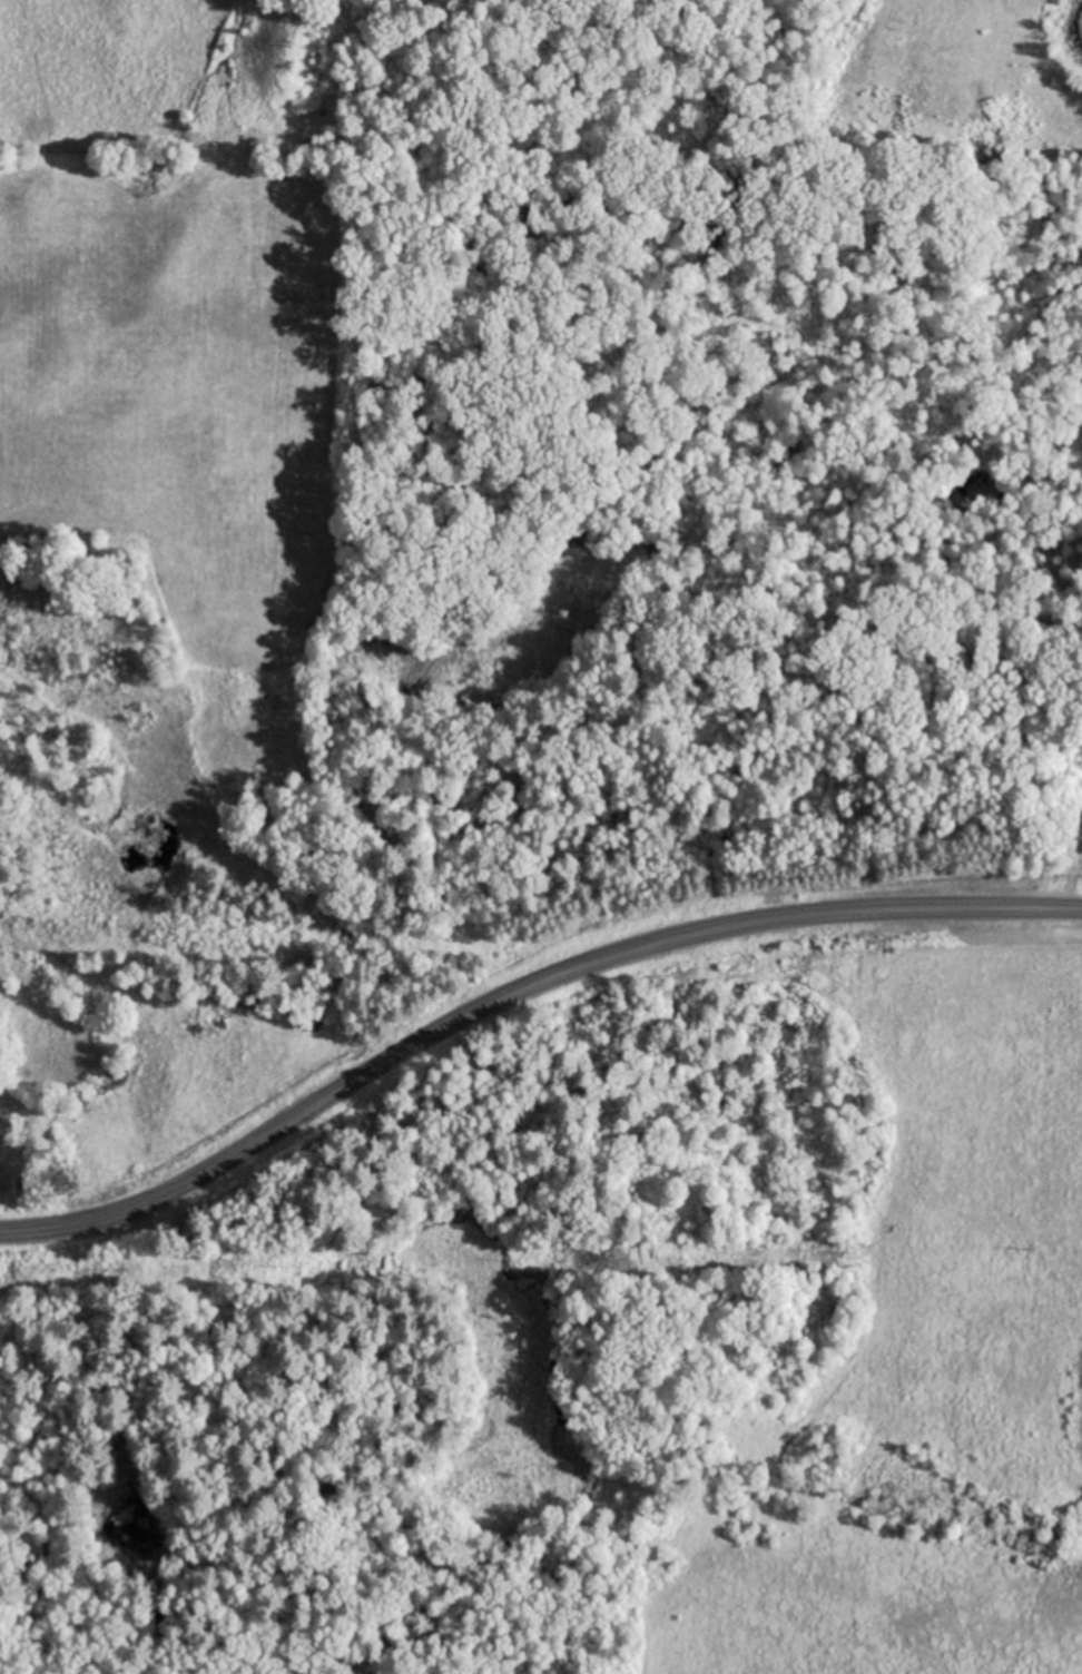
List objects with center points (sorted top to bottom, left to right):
road: (517, 996)

